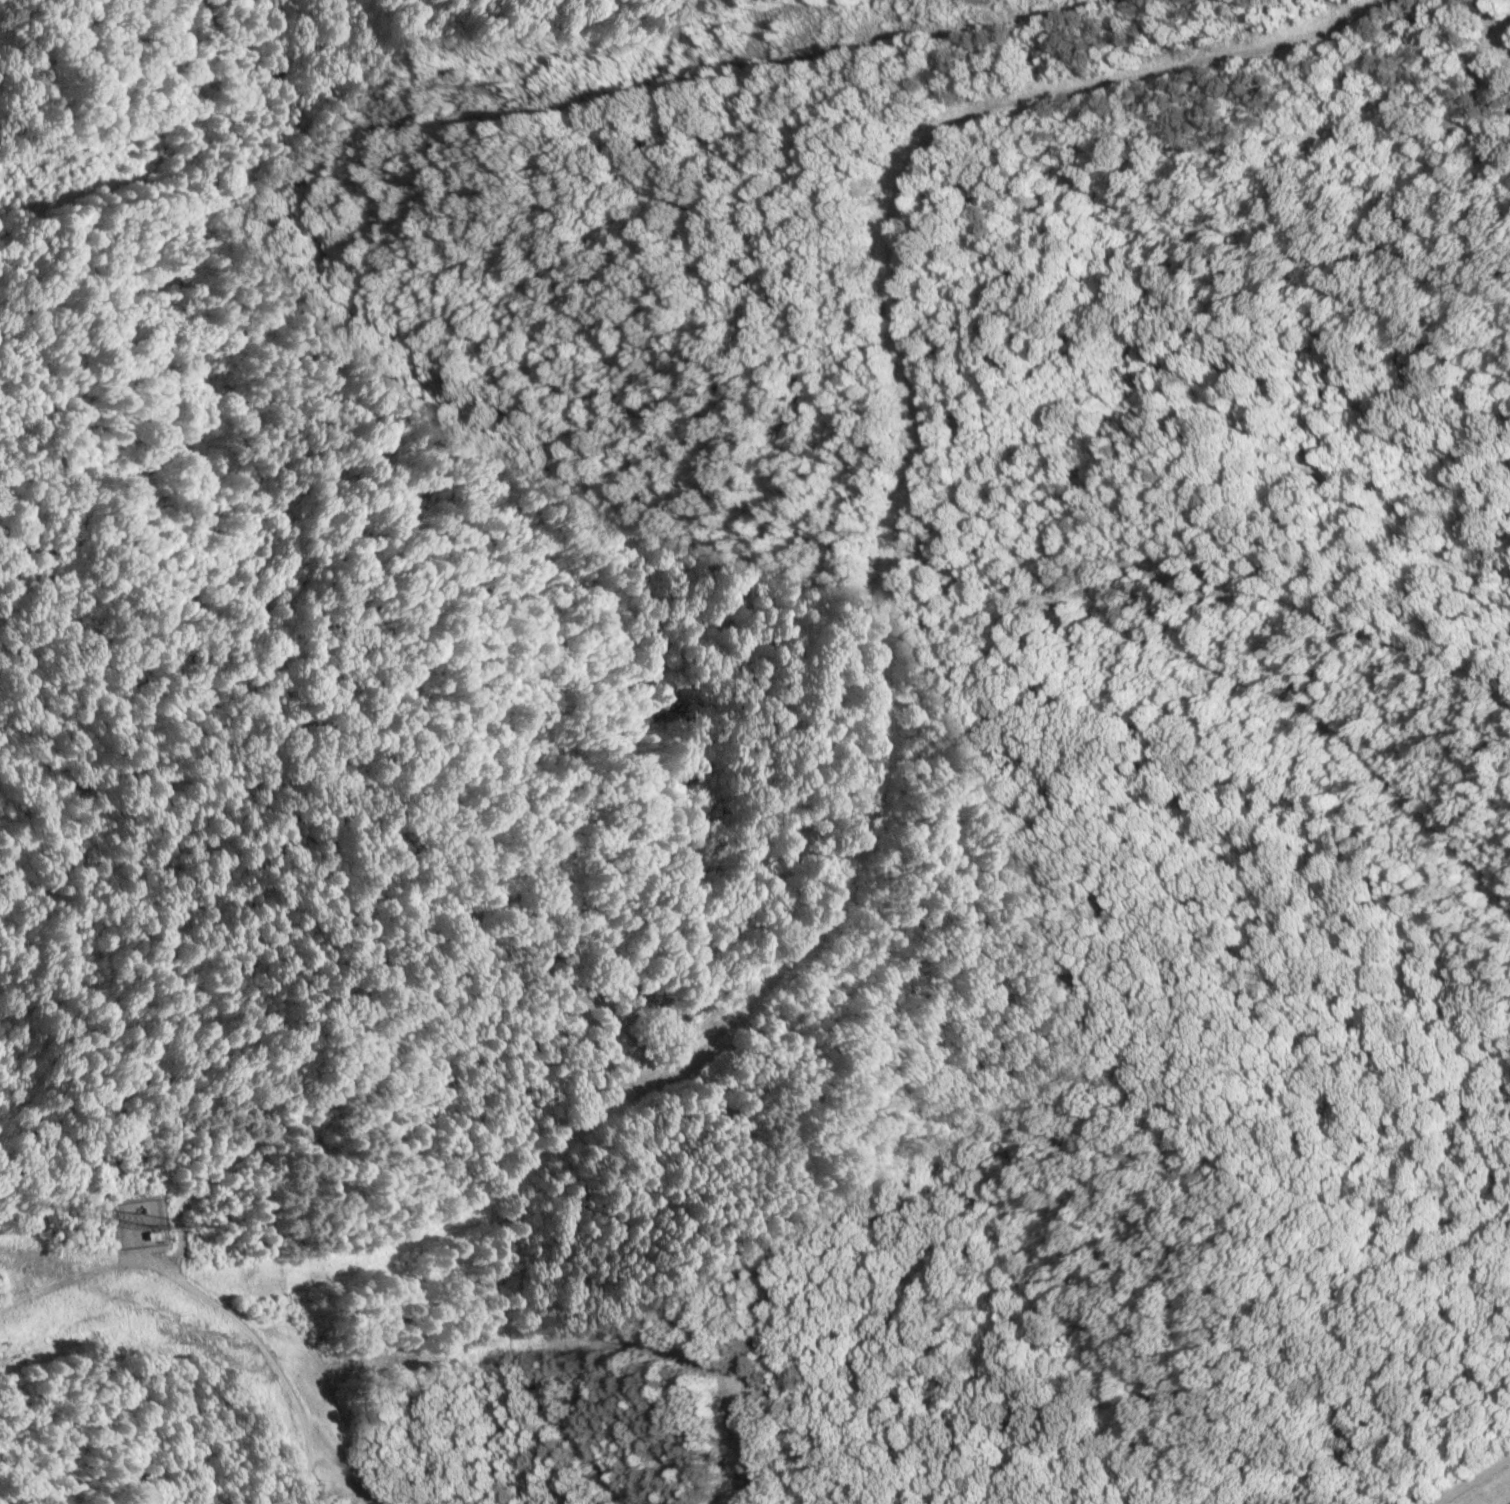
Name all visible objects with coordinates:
power tower: (501, 94)

